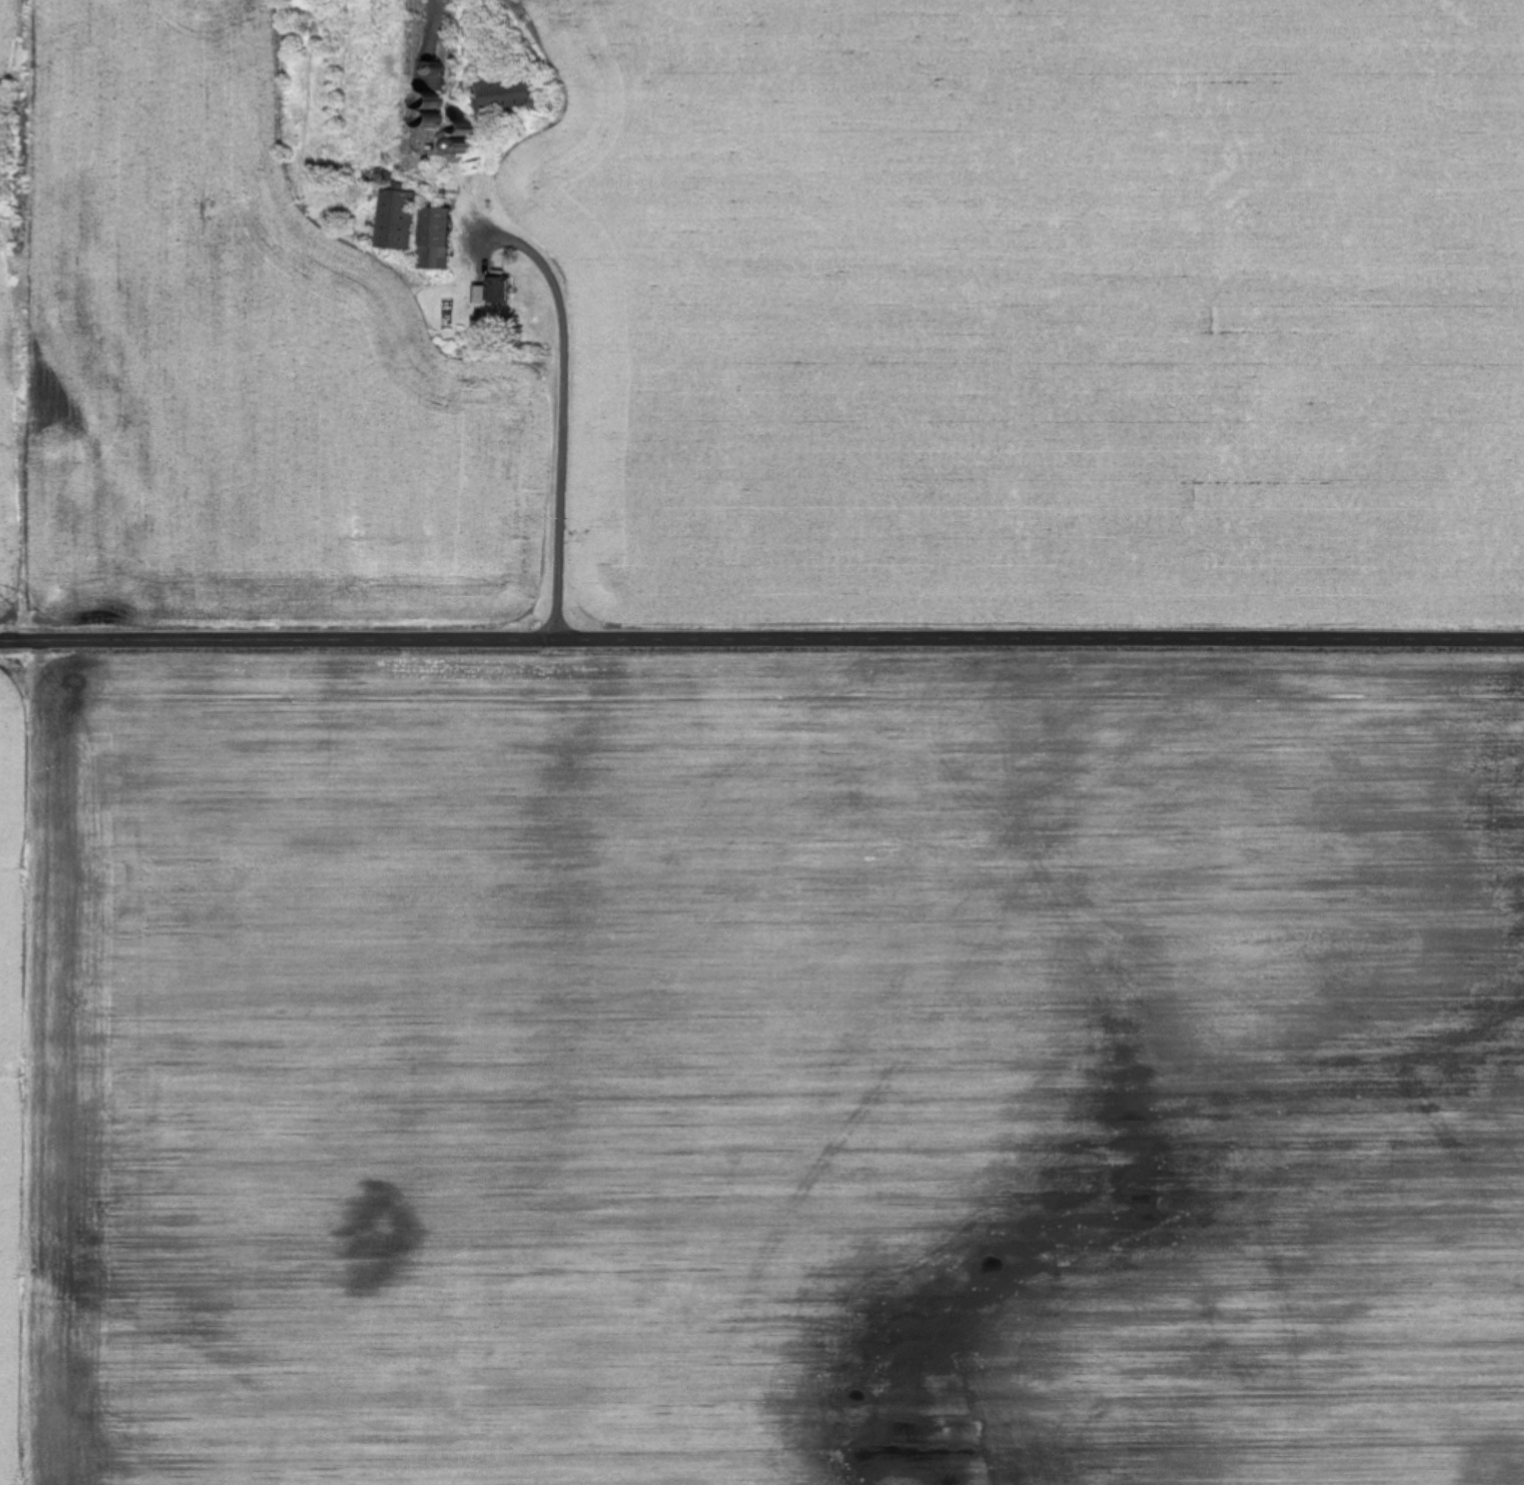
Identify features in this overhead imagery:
building: (502, 93)
building: (394, 219)
building: (432, 237)
building: (492, 290)
road: (561, 410)
road: (761, 638)

